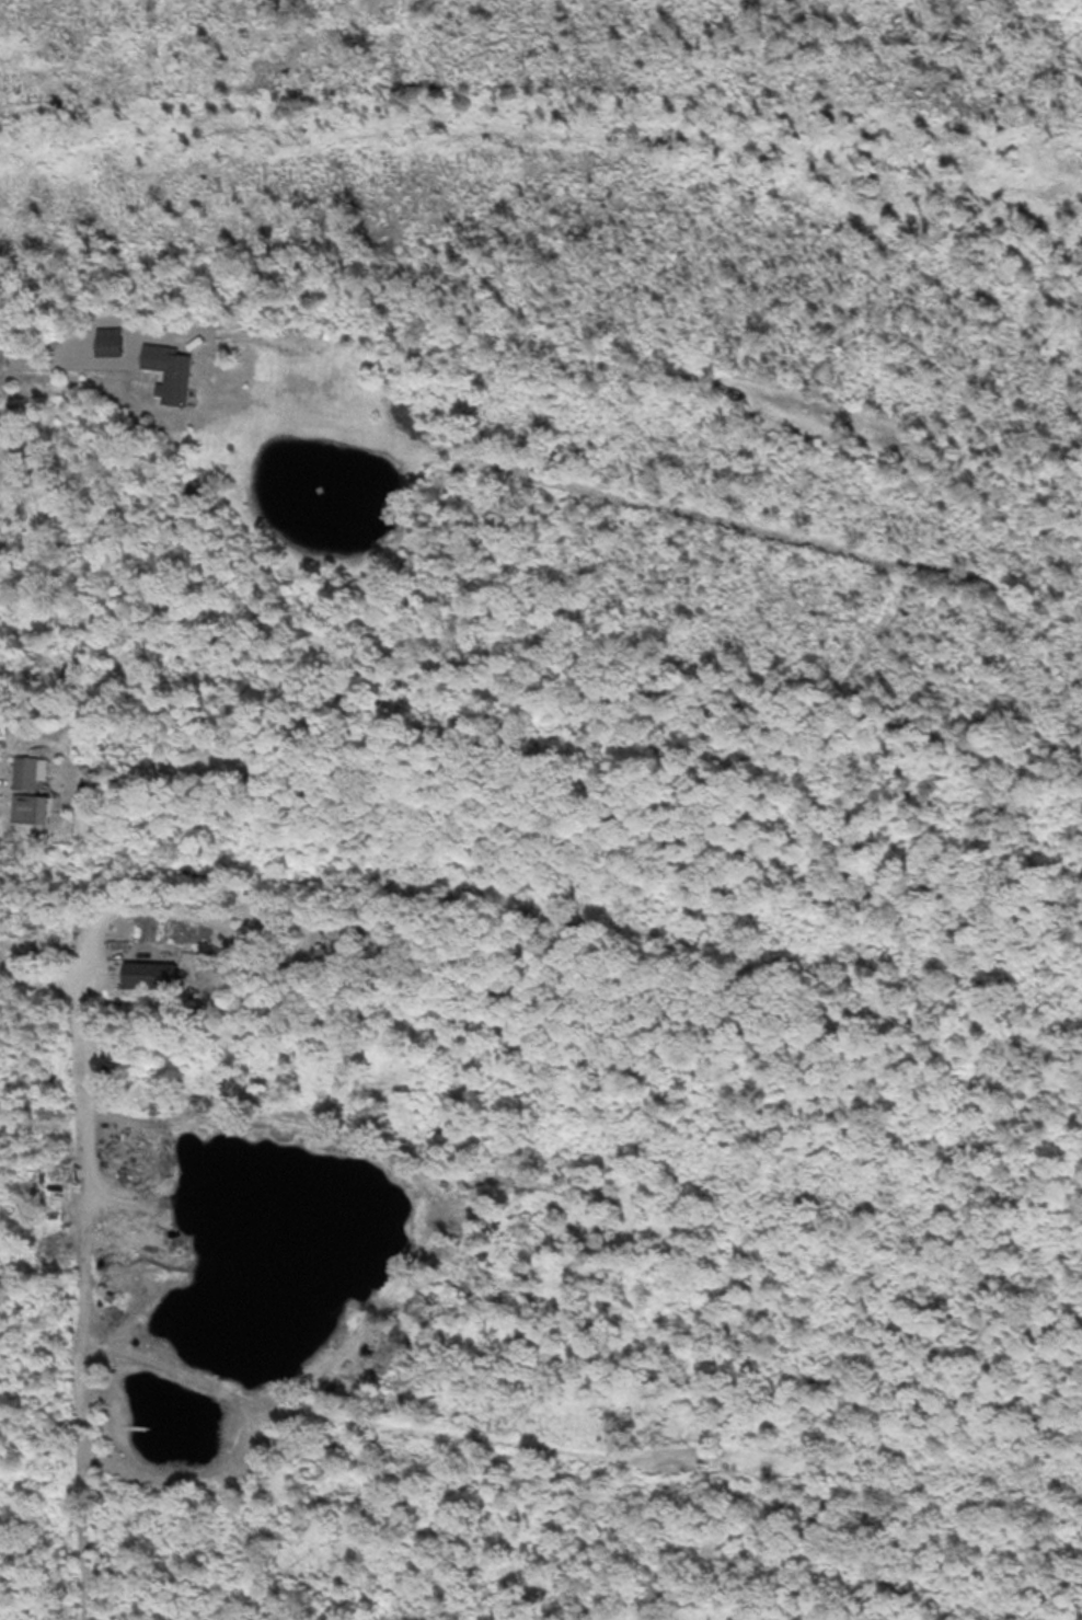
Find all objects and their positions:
building: (111, 340)
building: (320, 343)
road: (60, 360)
building: (176, 375)
building: (28, 771)
building: (34, 807)
building: (342, 940)
building: (157, 975)

